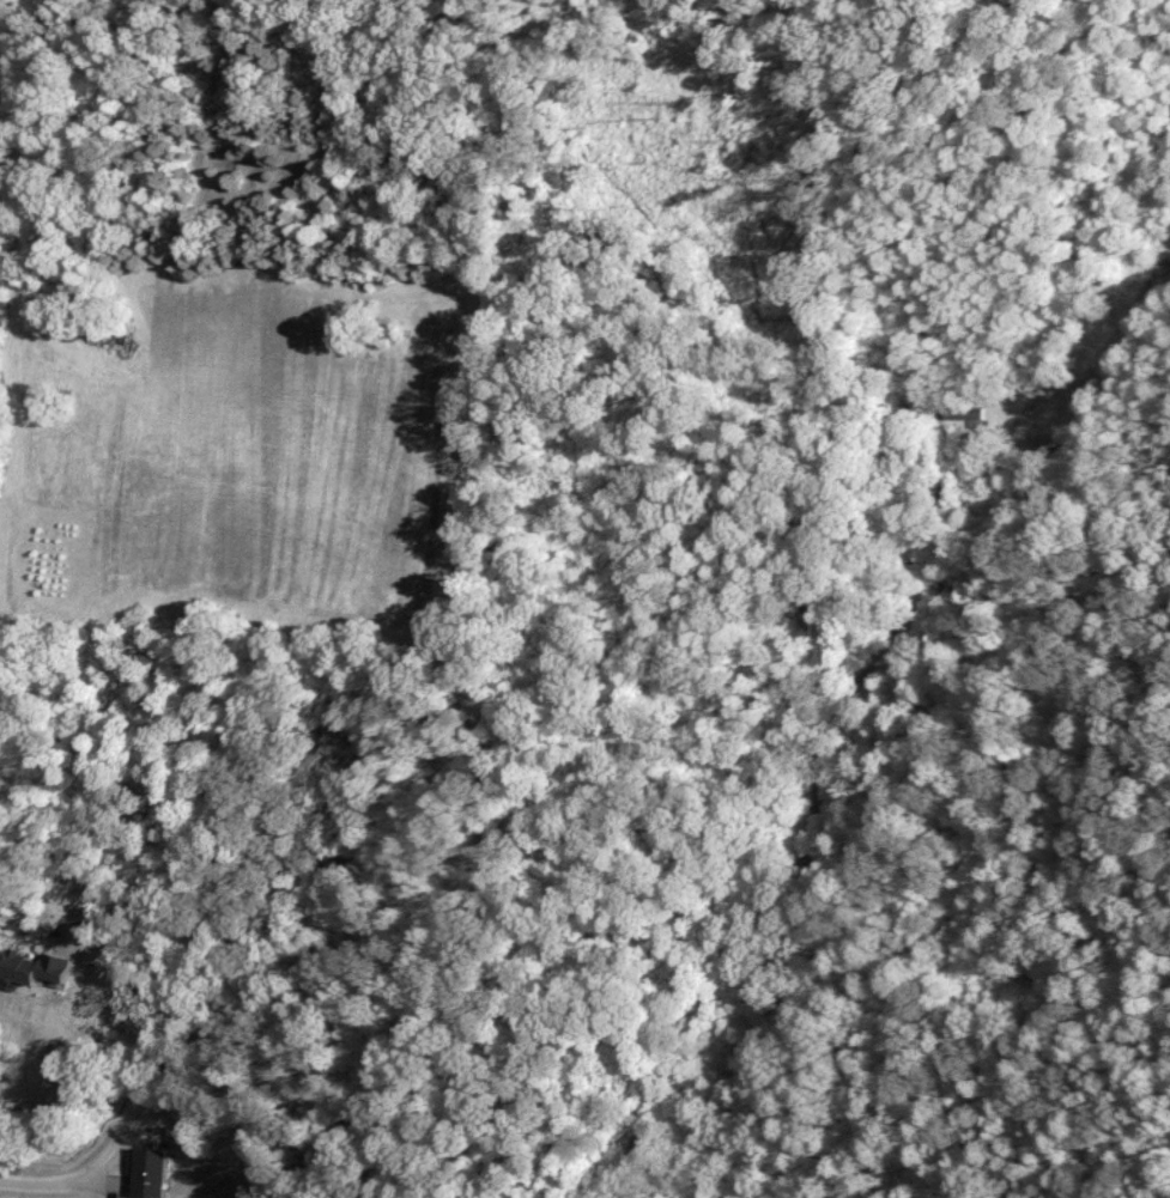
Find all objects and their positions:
building: (968, 413)
road: (650, 838)
building: (26, 967)
building: (144, 1173)

